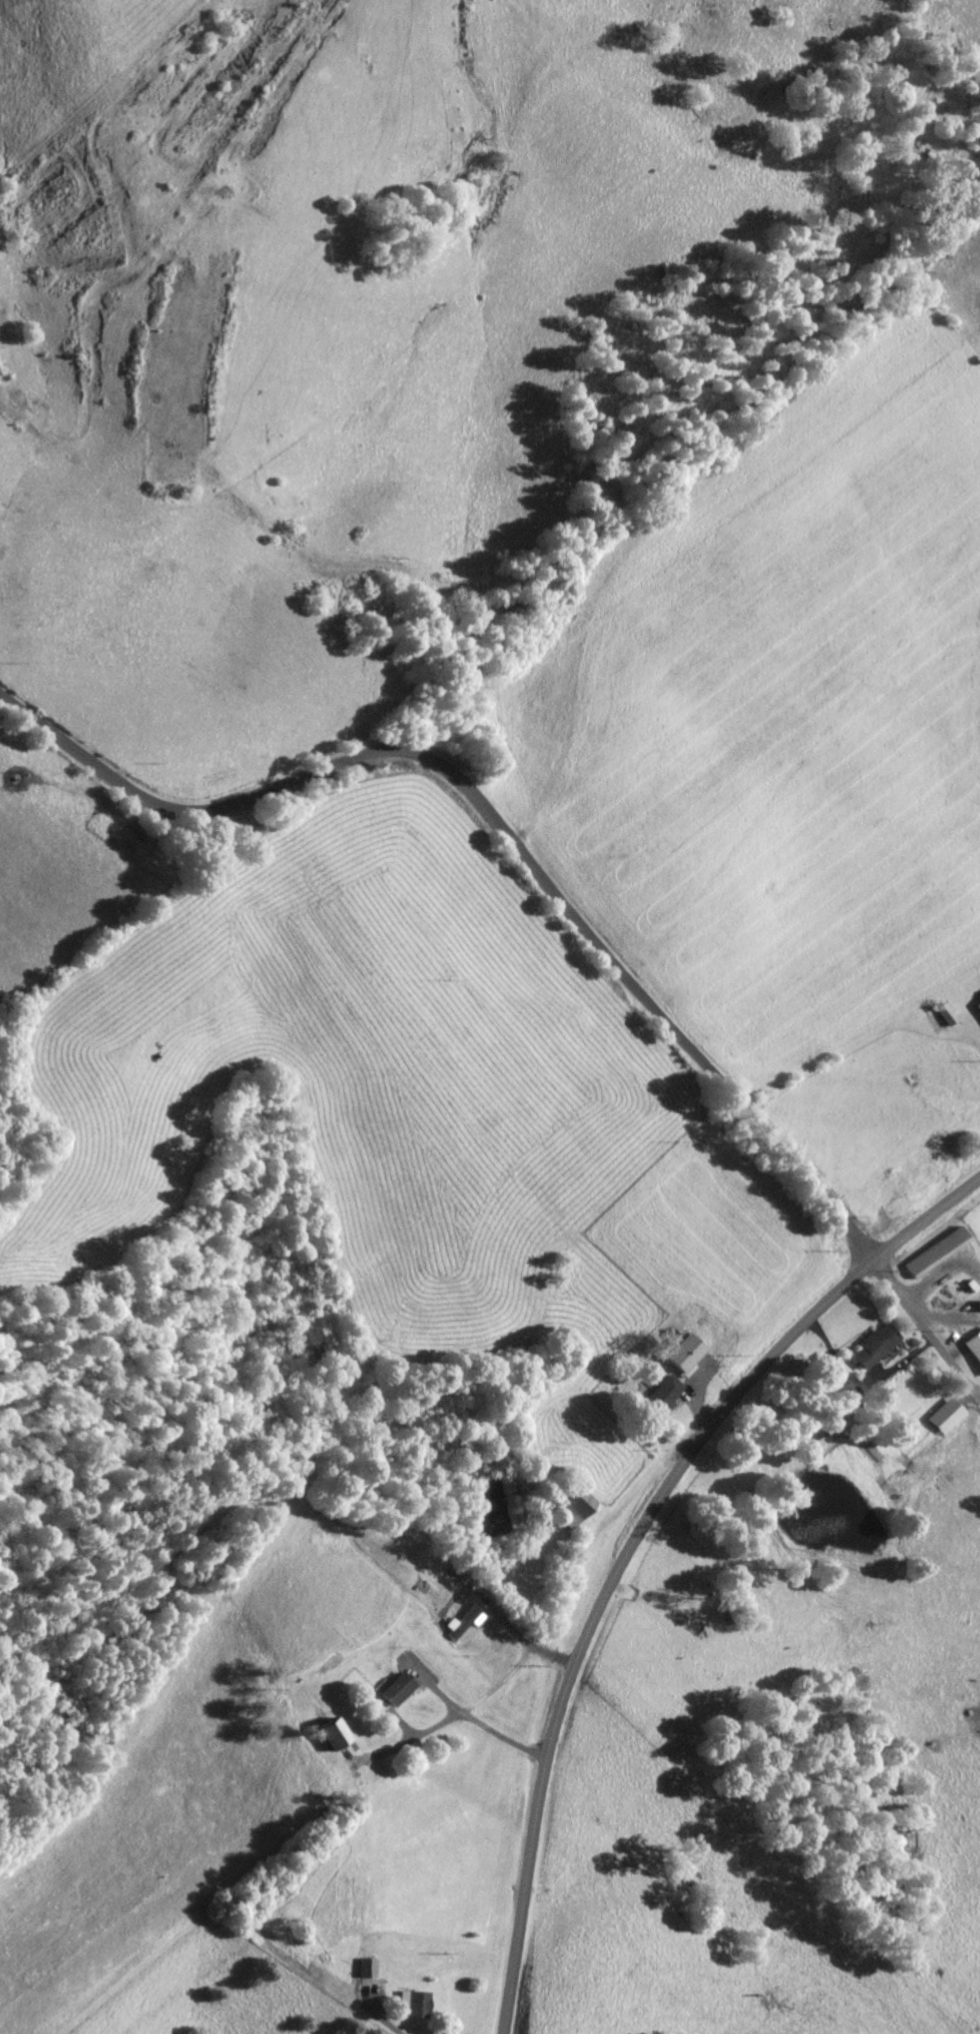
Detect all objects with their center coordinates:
road: (500, 825)
building: (976, 1006)
building: (944, 1014)
building: (931, 1252)
road: (926, 1328)
building: (871, 1346)
building: (972, 1347)
building: (687, 1352)
building: (669, 1388)
building: (943, 1416)
road: (631, 1544)
building: (469, 1620)
building: (401, 1687)
building: (339, 1734)
building: (375, 1967)
building: (420, 2002)

